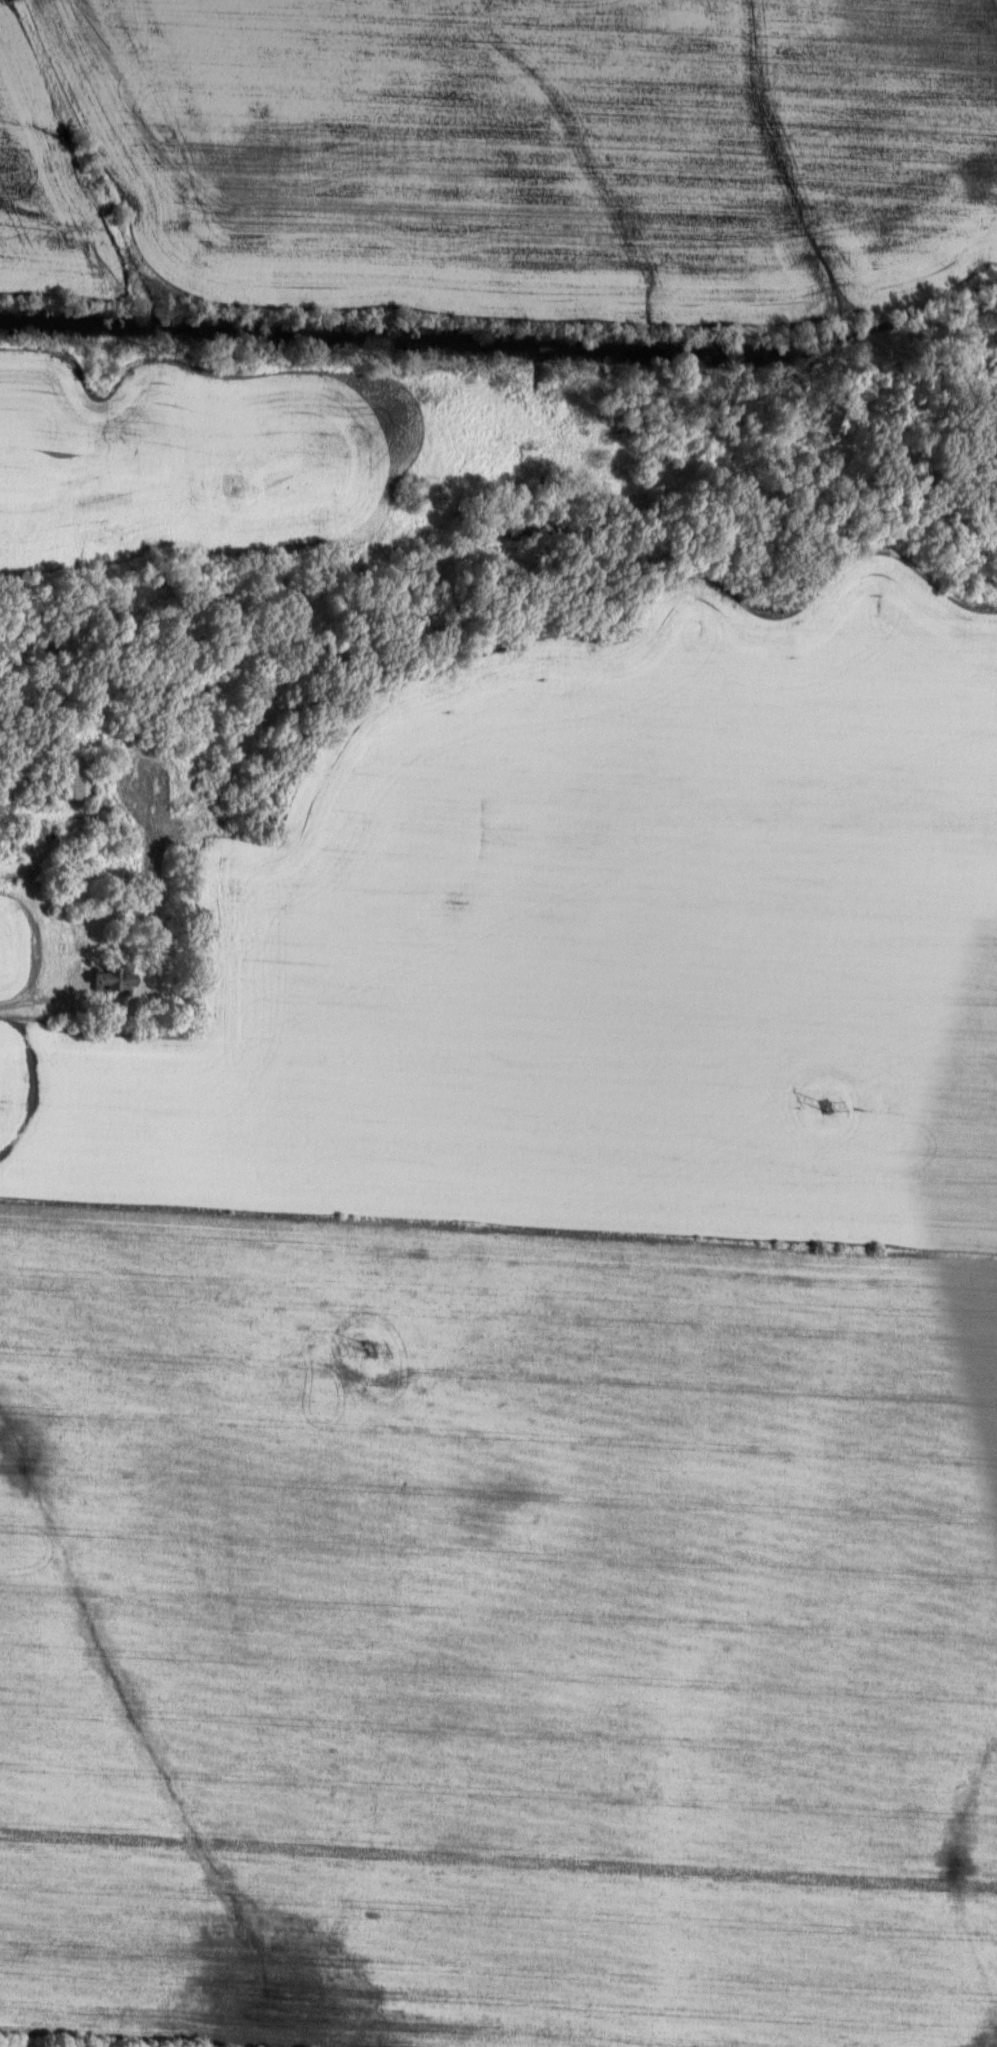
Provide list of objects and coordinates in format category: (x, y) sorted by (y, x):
building: (76, 778)
building: (112, 980)
road: (19, 1004)
power tower: (820, 1107)
power tower: (363, 1350)

